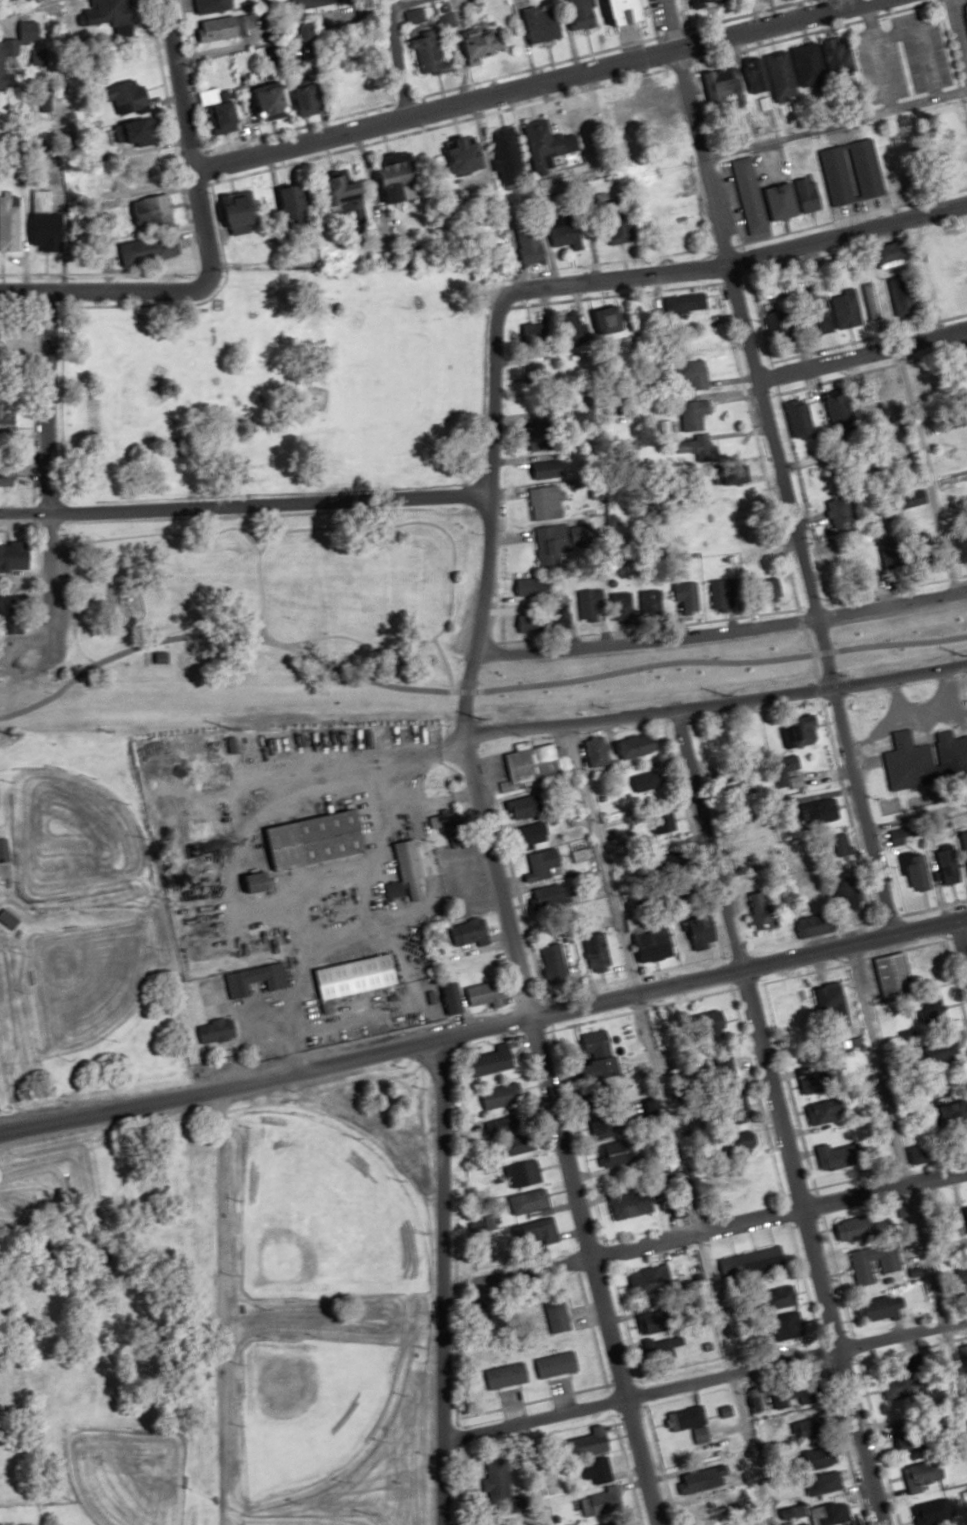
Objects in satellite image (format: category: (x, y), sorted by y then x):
building: (966, 0)
building: (703, 2)
road: (16, 5)
building: (215, 6)
building: (632, 12)
building: (581, 14)
building: (124, 17)
building: (544, 23)
road: (960, 26)
building: (223, 29)
building: (487, 44)
building: (429, 52)
road: (405, 55)
building: (823, 61)
building: (2, 62)
building: (780, 76)
building: (759, 78)
road: (527, 83)
road: (174, 84)
building: (722, 84)
building: (128, 97)
building: (274, 100)
building: (310, 100)
building: (227, 112)
road: (831, 124)
building: (137, 132)
building: (544, 143)
building: (467, 156)
building: (508, 156)
building: (401, 168)
building: (144, 170)
building: (851, 171)
road: (194, 184)
building: (349, 187)
building: (809, 193)
building: (749, 194)
building: (296, 200)
building: (783, 200)
building: (156, 211)
building: (245, 211)
building: (10, 223)
building: (48, 231)
road: (845, 232)
building: (566, 234)
building: (530, 244)
building: (954, 245)
building: (150, 249)
building: (892, 255)
road: (612, 278)
road: (144, 291)
building: (901, 297)
building: (953, 298)
building: (683, 302)
road: (859, 352)
building: (696, 375)
road: (899, 381)
park: (277, 388)
building: (837, 409)
building: (694, 414)
building: (800, 417)
building: (7, 420)
building: (540, 438)
road: (47, 462)
building: (548, 468)
building: (6, 479)
road: (781, 491)
building: (544, 502)
road: (244, 503)
building: (839, 512)
road: (262, 534)
building: (552, 543)
building: (15, 555)
road: (451, 575)
building: (531, 586)
building: (723, 592)
park: (265, 595)
building: (687, 595)
parking lot: (57, 614)
building: (530, 622)
road: (719, 627)
road: (47, 656)
road: (85, 657)
road: (716, 703)
building: (800, 730)
building: (638, 745)
building: (946, 749)
building: (596, 751)
building: (903, 760)
building: (534, 763)
building: (526, 806)
building: (830, 818)
building: (451, 826)
building: (534, 834)
park: (68, 835)
building: (903, 835)
building: (318, 839)
building: (3, 849)
building: (545, 864)
building: (949, 868)
building: (408, 872)
building: (918, 872)
building: (261, 879)
building: (547, 896)
building: (856, 901)
building: (766, 909)
road: (505, 915)
building: (8, 919)
building: (818, 923)
building: (474, 932)
building: (702, 933)
building: (652, 941)
road: (961, 942)
building: (598, 953)
building: (477, 964)
building: (553, 964)
building: (358, 975)
building: (888, 975)
building: (254, 978)
park: (86, 980)
building: (487, 993)
building: (832, 999)
building: (793, 1008)
road: (483, 1025)
building: (217, 1030)
building: (601, 1053)
building: (490, 1062)
building: (813, 1078)
building: (498, 1096)
building: (959, 1111)
building: (825, 1112)
road: (778, 1117)
building: (506, 1123)
road: (666, 1123)
building: (605, 1128)
building: (746, 1142)
building: (519, 1145)
building: (612, 1154)
building: (836, 1156)
building: (524, 1173)
road: (907, 1183)
building: (529, 1201)
building: (630, 1204)
park: (322, 1216)
road: (703, 1229)
building: (849, 1230)
building: (753, 1261)
building: (890, 1264)
road: (440, 1280)
building: (648, 1282)
road: (219, 1305)
building: (882, 1308)
park: (221, 1316)
building: (556, 1317)
building: (791, 1325)
building: (556, 1365)
building: (506, 1376)
road: (703, 1380)
building: (782, 1397)
park: (311, 1411)
building: (689, 1423)
building: (810, 1429)
building: (906, 1436)
building: (590, 1443)
building: (596, 1471)
building: (826, 1472)
road: (531, 1473)
park: (123, 1475)
building: (922, 1476)
building: (497, 1481)
building: (599, 1504)
building: (934, 1512)
building: (831, 1515)
park: (310, 1520)
building: (612, 1523)

